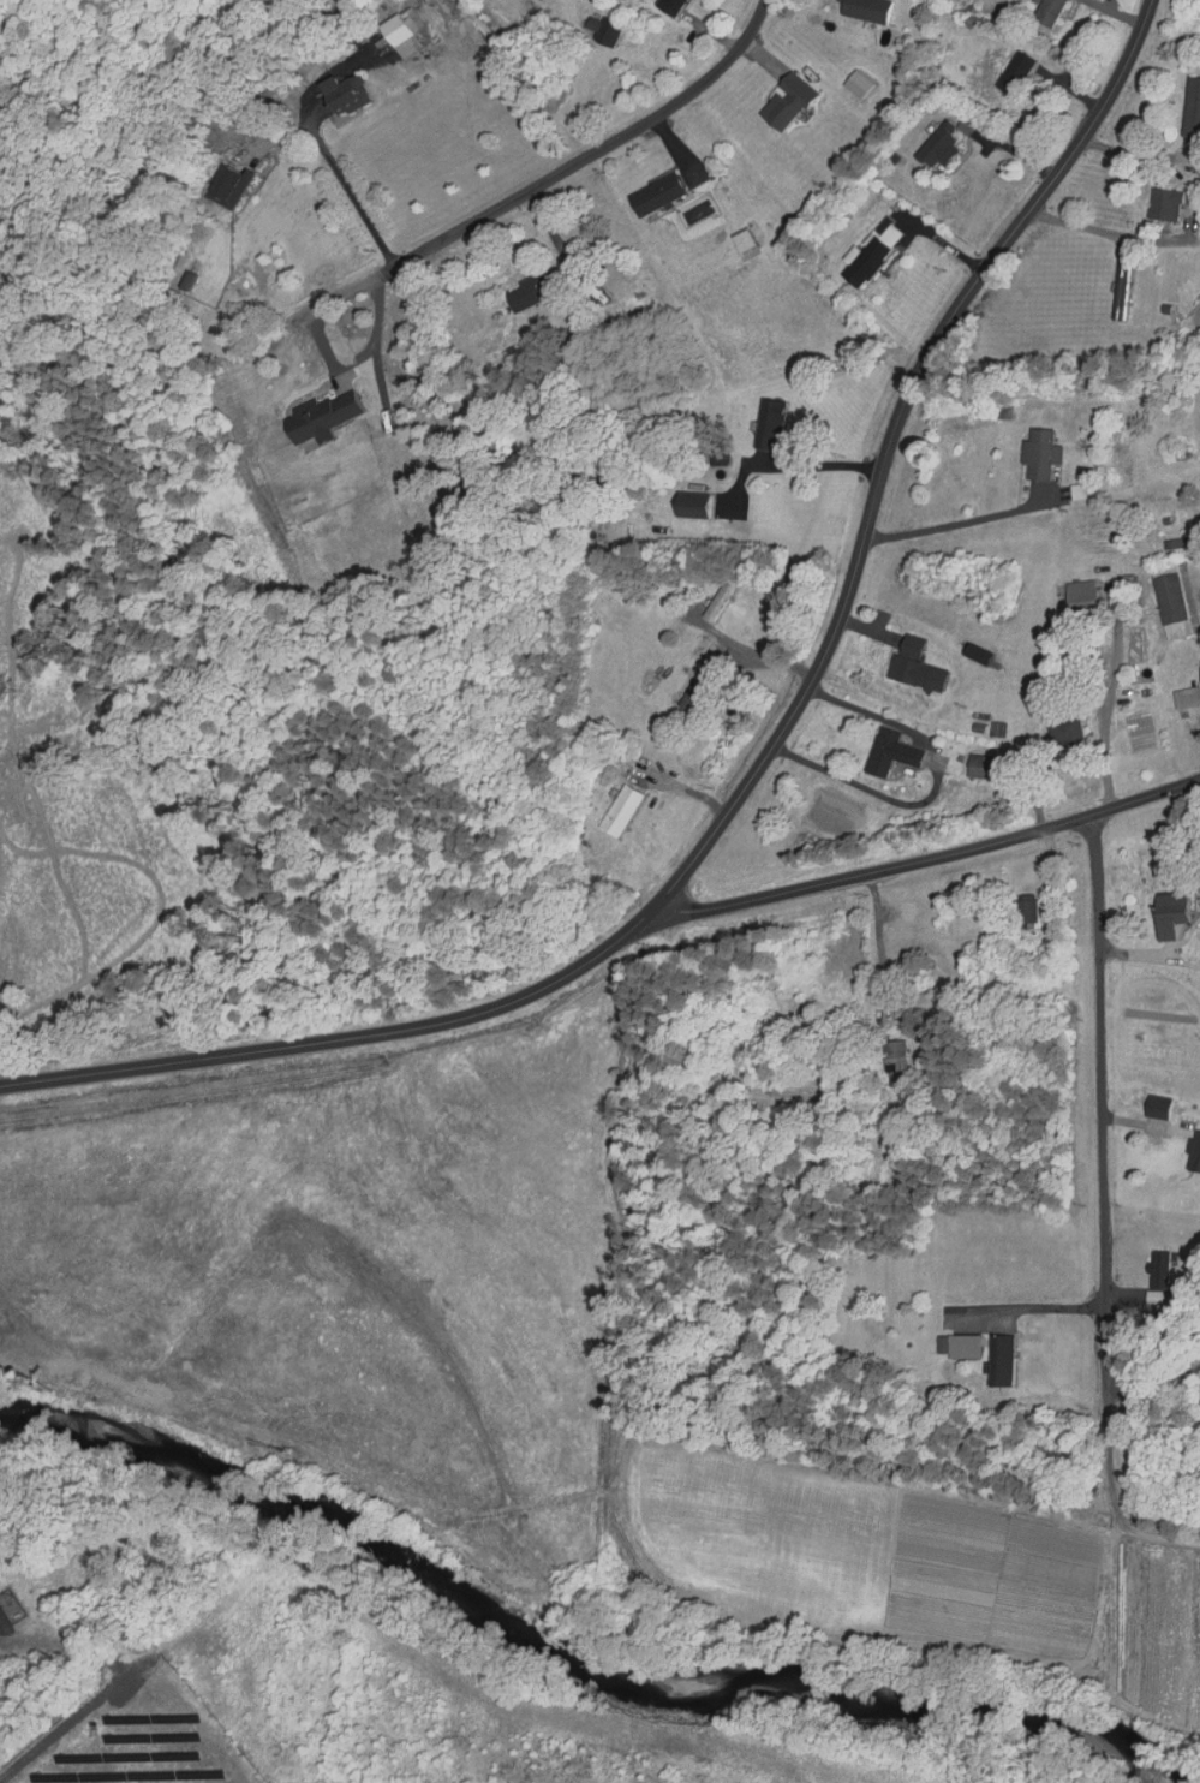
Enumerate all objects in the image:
building: (663, 7)
building: (856, 11)
building: (1040, 12)
building: (1196, 19)
building: (1009, 73)
building: (777, 105)
building: (1188, 108)
building: (932, 148)
road: (596, 153)
building: (670, 198)
building: (1156, 207)
building: (858, 264)
building: (549, 290)
building: (1111, 291)
road: (324, 350)
building: (338, 421)
building: (758, 423)
building: (1029, 452)
building: (1198, 501)
building: (681, 502)
road: (955, 523)
building: (1071, 596)
building: (710, 598)
building: (1162, 600)
building: (703, 651)
building: (907, 664)
building: (1195, 672)
building: (686, 686)
building: (1178, 697)
building: (1056, 729)
building: (879, 752)
road: (759, 767)
building: (984, 767)
road: (933, 789)
building: (633, 811)
road: (930, 859)
building: (1021, 908)
building: (1160, 914)
road: (878, 943)
building: (888, 1056)
building: (1151, 1107)
building: (1189, 1151)
road: (1100, 1170)
building: (1153, 1275)
building: (948, 1346)
building: (993, 1360)
road: (1104, 1527)
road: (1152, 1534)
road: (1115, 1658)

